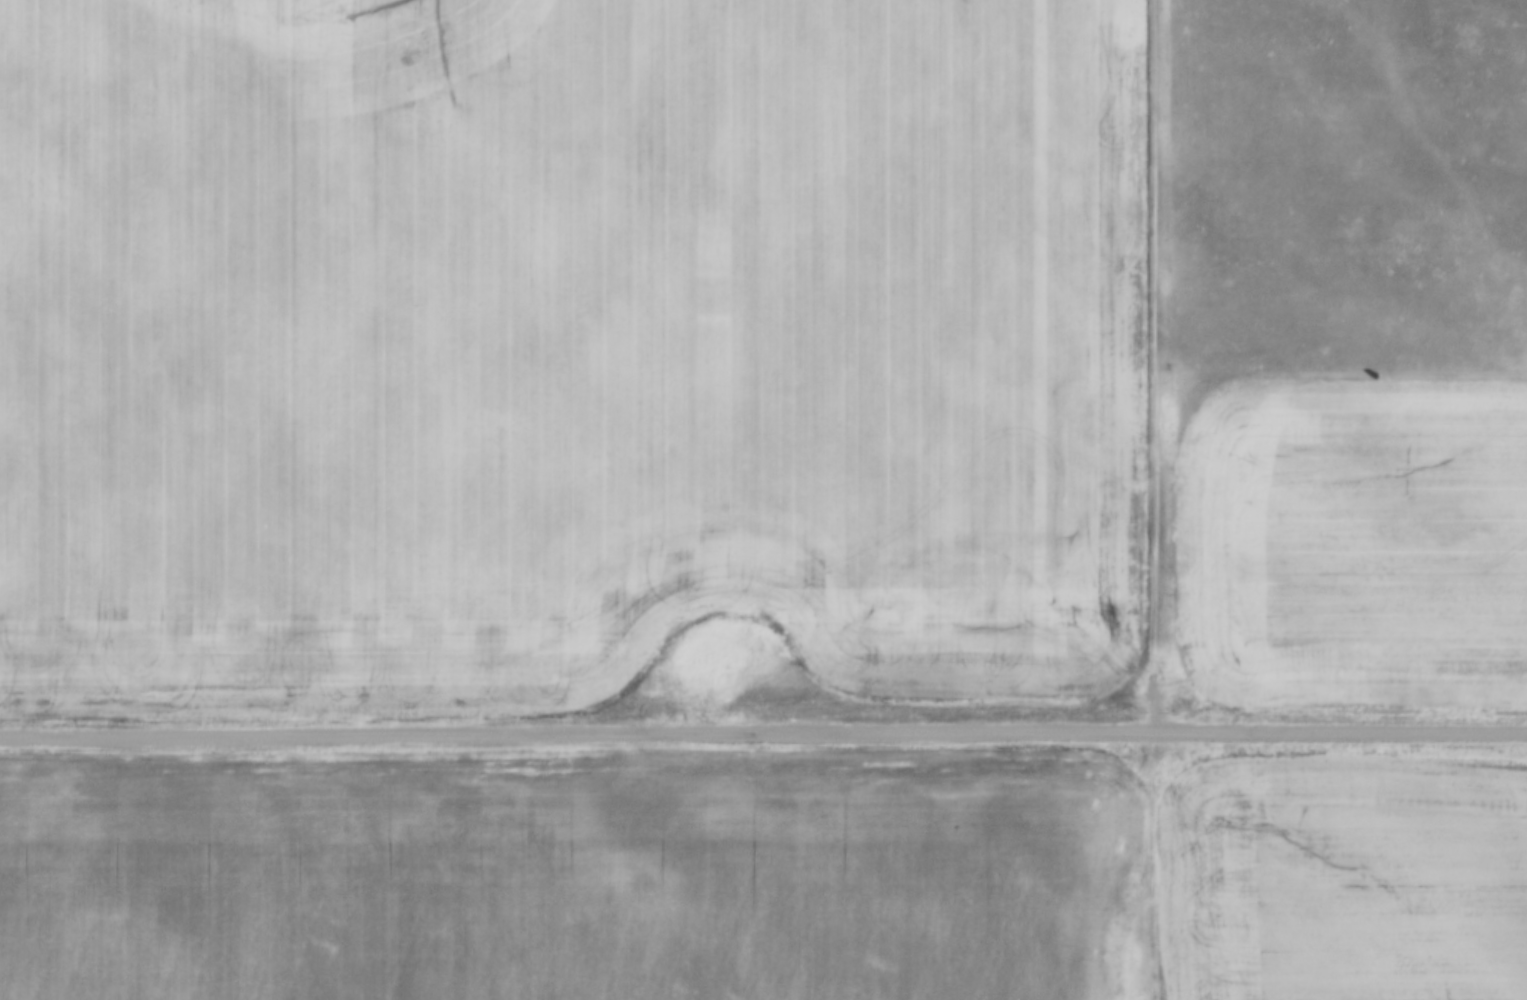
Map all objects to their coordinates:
road: (1155, 499)
road: (763, 724)

